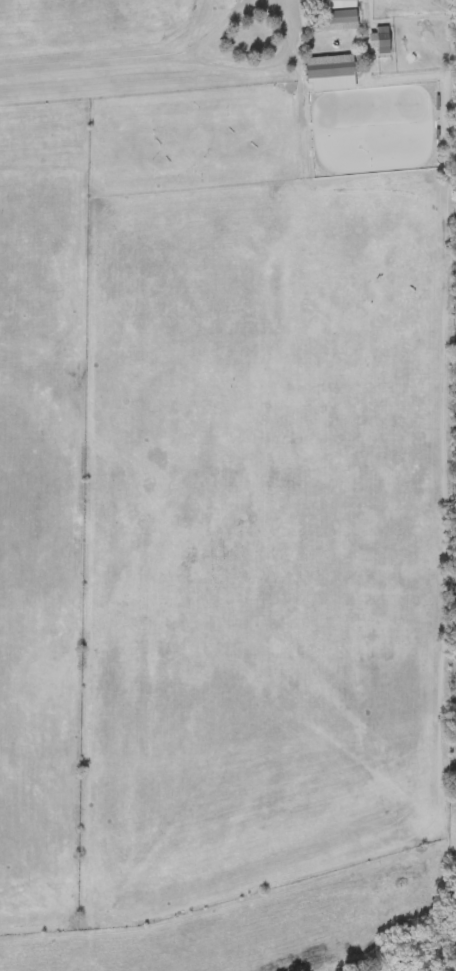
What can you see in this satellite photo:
building: (333, 15)
building: (375, 39)
road: (125, 56)
building: (322, 66)

